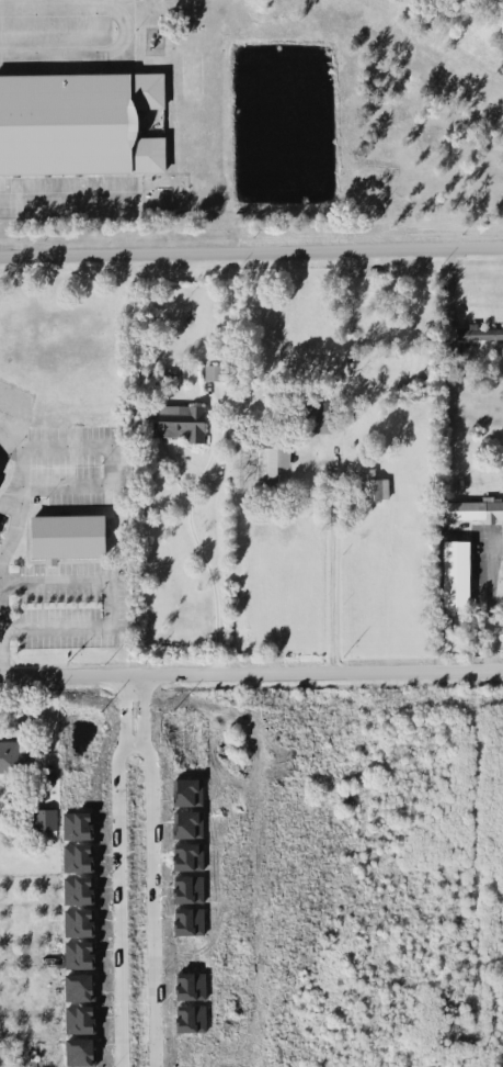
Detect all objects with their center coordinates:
road: (123, 29)
building: (78, 122)
road: (68, 196)
road: (251, 249)
building: (479, 332)
building: (214, 371)
building: (316, 415)
building: (178, 420)
road: (65, 447)
building: (267, 460)
building: (373, 484)
building: (473, 508)
building: (68, 536)
road: (194, 546)
road: (332, 563)
building: (456, 572)
road: (107, 603)
road: (491, 605)
road: (251, 671)
road: (126, 681)
road: (126, 688)
road: (127, 742)
building: (12, 755)
building: (44, 817)
building: (188, 823)
building: (78, 824)
building: (187, 855)
building: (78, 856)
road: (484, 867)
building: (79, 889)
road: (111, 903)
road: (146, 903)
building: (79, 921)
building: (79, 954)
building: (191, 985)
building: (80, 986)
building: (80, 1018)
building: (191, 1018)
building: (173, 1038)
building: (80, 1051)

